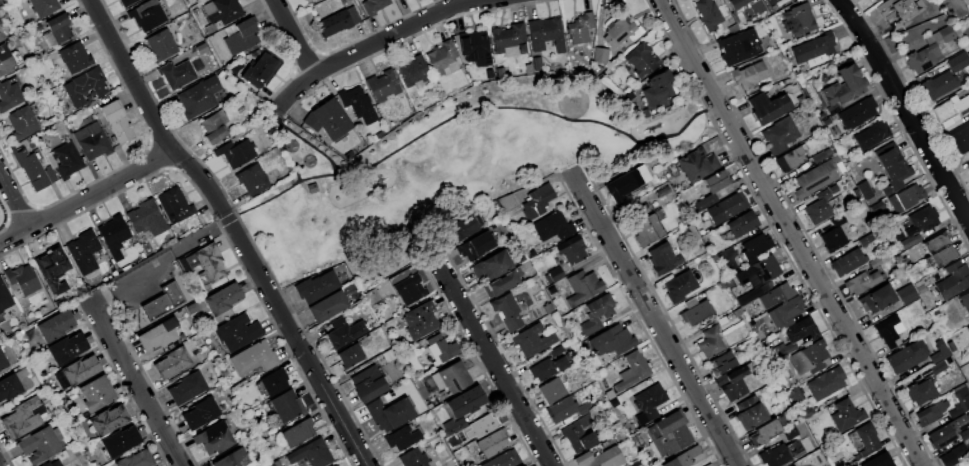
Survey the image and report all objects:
building: (395, 0)
building: (875, 1)
building: (127, 2)
building: (771, 2)
building: (965, 4)
building: (43, 6)
building: (373, 6)
building: (900, 8)
building: (757, 9)
building: (222, 11)
building: (146, 14)
building: (708, 14)
building: (798, 20)
building: (338, 21)
building: (0, 22)
building: (38, 28)
building: (580, 28)
building: (57, 30)
building: (622, 30)
building: (545, 34)
building: (598, 35)
building: (241, 36)
building: (507, 36)
road: (292, 37)
road: (373, 43)
building: (161, 45)
building: (736, 46)
building: (813, 47)
building: (201, 49)
building: (475, 49)
building: (928, 50)
building: (968, 54)
building: (600, 55)
building: (440, 57)
building: (72, 58)
building: (641, 60)
building: (5, 61)
building: (957, 61)
building: (260, 69)
building: (413, 72)
building: (176, 74)
building: (749, 74)
building: (382, 85)
building: (938, 85)
building: (85, 86)
building: (844, 86)
building: (658, 89)
building: (9, 95)
building: (198, 97)
building: (358, 104)
building: (768, 105)
road: (484, 108)
building: (950, 108)
road: (904, 110)
building: (856, 113)
building: (116, 120)
building: (328, 120)
building: (22, 122)
building: (214, 126)
building: (779, 135)
building: (871, 135)
building: (960, 139)
building: (92, 141)
building: (235, 152)
building: (790, 159)
building: (66, 160)
park: (453, 164)
building: (696, 164)
building: (29, 166)
building: (891, 166)
building: (968, 167)
road: (297, 178)
building: (815, 178)
building: (253, 179)
building: (717, 181)
building: (625, 182)
building: (312, 188)
road: (86, 198)
building: (906, 198)
road: (14, 201)
road: (262, 201)
building: (536, 201)
building: (704, 202)
building: (173, 205)
building: (508, 205)
building: (727, 208)
building: (818, 208)
building: (142, 214)
building: (922, 220)
building: (643, 224)
building: (742, 224)
building: (553, 227)
road: (232, 228)
building: (460, 228)
building: (693, 232)
road: (789, 232)
building: (833, 235)
building: (114, 236)
building: (865, 239)
building: (474, 246)
building: (754, 247)
building: (571, 249)
building: (939, 250)
building: (83, 251)
road: (155, 256)
building: (659, 260)
building: (191, 261)
building: (209, 262)
building: (847, 262)
building: (875, 262)
building: (493, 264)
building: (184, 265)
building: (51, 267)
building: (755, 273)
building: (555, 274)
building: (21, 279)
building: (953, 280)
building: (501, 282)
building: (861, 282)
building: (407, 286)
building: (583, 286)
building: (678, 286)
building: (317, 287)
building: (775, 295)
building: (748, 296)
building: (907, 296)
building: (4, 297)
building: (222, 298)
building: (876, 299)
building: (163, 301)
building: (964, 301)
building: (327, 306)
building: (694, 311)
building: (507, 312)
building: (785, 312)
building: (595, 315)
road: (653, 318)
building: (556, 319)
building: (420, 320)
building: (55, 325)
building: (968, 325)
building: (968, 328)
building: (801, 330)
building: (887, 331)
building: (237, 332)
building: (344, 333)
building: (158, 335)
building: (531, 340)
building: (612, 340)
building: (710, 343)
building: (66, 348)
building: (440, 348)
building: (939, 352)
road: (486, 353)
building: (350, 356)
building: (906, 356)
building: (254, 358)
building: (808, 358)
building: (2, 361)
building: (171, 363)
building: (720, 363)
building: (546, 368)
building: (76, 371)
building: (632, 371)
building: (452, 377)
road: (132, 381)
building: (274, 382)
building: (367, 383)
building: (825, 383)
building: (732, 384)
building: (8, 386)
building: (186, 388)
building: (551, 390)
building: (921, 391)
building: (95, 394)
building: (796, 395)
building: (467, 400)
building: (961, 402)
building: (648, 403)
building: (286, 405)
building: (566, 409)
building: (388, 413)
building: (806, 413)
building: (930, 413)
building: (200, 414)
building: (846, 415)
building: (23, 417)
building: (751, 417)
building: (107, 420)
building: (481, 426)
building: (948, 431)
building: (763, 432)
building: (297, 433)
building: (790, 433)
building: (668, 434)
building: (578, 435)
building: (214, 438)
building: (402, 438)
building: (865, 438)
building: (119, 441)
building: (806, 442)
building: (492, 443)
building: (40, 444)
building: (311, 454)
building: (953, 455)
building: (774, 456)
building: (683, 457)
building: (234, 458)
building: (414, 458)
building: (601, 458)
building: (135, 459)
building: (504, 459)
building: (878, 461)
building: (51, 464)
building: (335, 465)
building: (708, 465)

